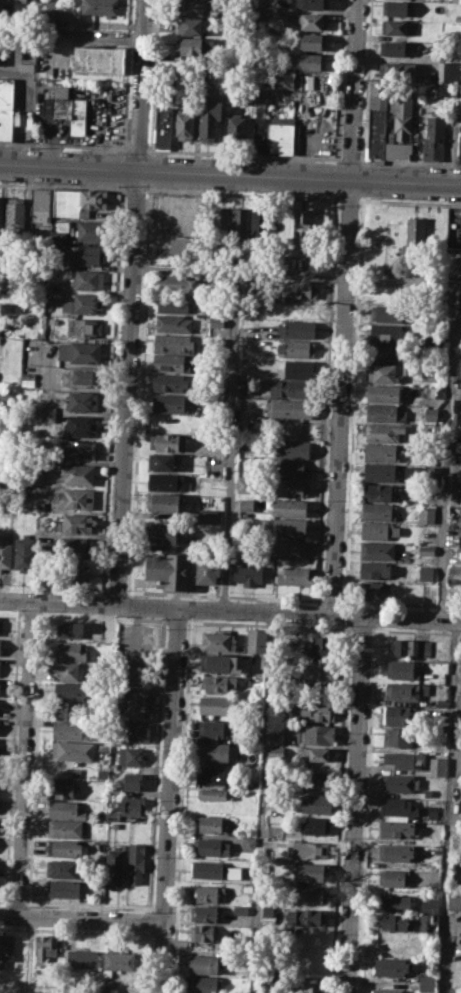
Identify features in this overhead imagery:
building: (18, 0)
building: (456, 0)
building: (49, 2)
building: (311, 4)
building: (99, 7)
building: (192, 7)
building: (397, 8)
building: (261, 13)
building: (46, 17)
building: (312, 21)
building: (192, 26)
building: (398, 27)
building: (313, 41)
building: (195, 46)
building: (394, 47)
building: (27, 55)
building: (99, 59)
building: (309, 62)
building: (397, 70)
building: (449, 70)
building: (193, 75)
road: (126, 76)
building: (279, 80)
road: (368, 80)
building: (307, 81)
road: (140, 84)
building: (444, 88)
road: (354, 89)
building: (378, 92)
building: (6, 107)
building: (66, 108)
building: (402, 113)
building: (210, 115)
building: (185, 121)
building: (163, 127)
building: (237, 131)
building: (377, 132)
building: (275, 133)
building: (434, 138)
road: (64, 145)
road: (137, 148)
building: (459, 148)
building: (397, 149)
road: (245, 154)
road: (351, 159)
road: (410, 161)
road: (122, 169)
road: (230, 172)
road: (65, 185)
road: (121, 186)
road: (136, 190)
road: (243, 193)
road: (350, 199)
building: (92, 201)
road: (410, 201)
building: (65, 202)
building: (40, 205)
building: (0, 211)
building: (158, 212)
building: (15, 215)
building: (220, 224)
building: (258, 224)
building: (240, 225)
building: (302, 228)
building: (92, 230)
building: (57, 237)
building: (415, 238)
building: (185, 249)
building: (0, 250)
building: (88, 256)
building: (453, 263)
building: (88, 279)
building: (178, 284)
building: (300, 289)
road: (451, 294)
building: (53, 302)
building: (82, 303)
building: (174, 304)
building: (7, 307)
building: (296, 309)
building: (390, 312)
building: (173, 323)
building: (215, 324)
building: (83, 327)
building: (297, 328)
building: (386, 332)
building: (430, 339)
building: (174, 343)
building: (297, 348)
building: (78, 351)
building: (386, 353)
building: (171, 362)
building: (296, 368)
building: (385, 372)
building: (27, 375)
building: (81, 375)
building: (429, 375)
building: (170, 382)
road: (127, 386)
building: (293, 388)
building: (384, 392)
road: (112, 393)
building: (460, 393)
road: (340, 396)
building: (83, 400)
building: (170, 402)
building: (289, 409)
building: (455, 411)
building: (47, 412)
building: (385, 412)
building: (431, 413)
building: (78, 425)
building: (385, 432)
building: (168, 441)
road: (230, 442)
building: (246, 442)
building: (292, 448)
building: (77, 449)
building: (458, 450)
building: (381, 451)
building: (161, 461)
building: (290, 468)
building: (381, 472)
building: (76, 473)
building: (433, 475)
building: (165, 481)
building: (244, 484)
building: (290, 486)
building: (377, 491)
building: (75, 498)
building: (163, 503)
building: (245, 504)
building: (40, 505)
building: (290, 507)
building: (378, 511)
building: (426, 515)
building: (210, 516)
building: (245, 520)
silo: (245, 520)
building: (459, 520)
building: (76, 523)
building: (289, 526)
building: (379, 530)
building: (166, 533)
building: (41, 535)
building: (289, 546)
building: (74, 548)
building: (378, 549)
building: (426, 550)
building: (5, 552)
building: (24, 553)
building: (454, 569)
building: (181, 570)
building: (374, 570)
building: (74, 571)
building: (248, 571)
building: (425, 573)
building: (294, 576)
road: (115, 591)
building: (375, 591)
road: (222, 595)
road: (330, 600)
road: (399, 603)
road: (230, 610)
building: (1, 625)
building: (70, 629)
building: (218, 640)
building: (256, 640)
building: (0, 644)
building: (324, 645)
building: (410, 647)
building: (70, 650)
parking lot: (135, 654)
building: (0, 660)
building: (219, 663)
building: (319, 668)
building: (402, 669)
building: (68, 671)
building: (217, 682)
building: (72, 690)
building: (402, 690)
building: (458, 700)
building: (216, 704)
building: (134, 706)
building: (72, 710)
building: (319, 711)
building: (400, 715)
building: (213, 728)
building: (71, 730)
building: (135, 732)
building: (315, 734)
building: (275, 736)
building: (398, 737)
building: (72, 750)
building: (216, 752)
building: (275, 752)
building: (318, 754)
building: (131, 755)
road: (25, 758)
building: (405, 759)
building: (437, 765)
building: (212, 775)
building: (319, 780)
building: (132, 782)
building: (401, 782)
building: (65, 789)
building: (114, 790)
building: (428, 792)
building: (213, 793)
road: (168, 800)
road: (262, 802)
building: (317, 803)
road: (353, 804)
building: (131, 805)
building: (398, 805)
road: (448, 805)
building: (67, 810)
building: (433, 812)
building: (396, 817)
building: (208, 823)
building: (315, 825)
building: (66, 828)
building: (396, 828)
building: (248, 843)
building: (210, 846)
building: (65, 848)
building: (306, 849)
building: (396, 851)
building: (136, 864)
building: (114, 865)
building: (63, 867)
building: (208, 869)
building: (234, 872)
building: (309, 872)
building: (395, 878)
building: (434, 886)
building: (65, 888)
building: (247, 888)
building: (206, 893)
building: (309, 894)
building: (454, 899)
building: (394, 902)
building: (430, 905)
building: (240, 909)
building: (207, 913)
road: (81, 916)
building: (305, 917)
building: (398, 921)
building: (423, 926)
building: (205, 931)
building: (6, 947)
building: (45, 947)
road: (29, 954)
building: (82, 958)
building: (117, 961)
building: (203, 963)
building: (391, 965)
building: (448, 981)
building: (426, 983)
building: (204, 984)
building: (305, 987)
building: (107, 988)
building: (47, 989)
building: (386, 990)

